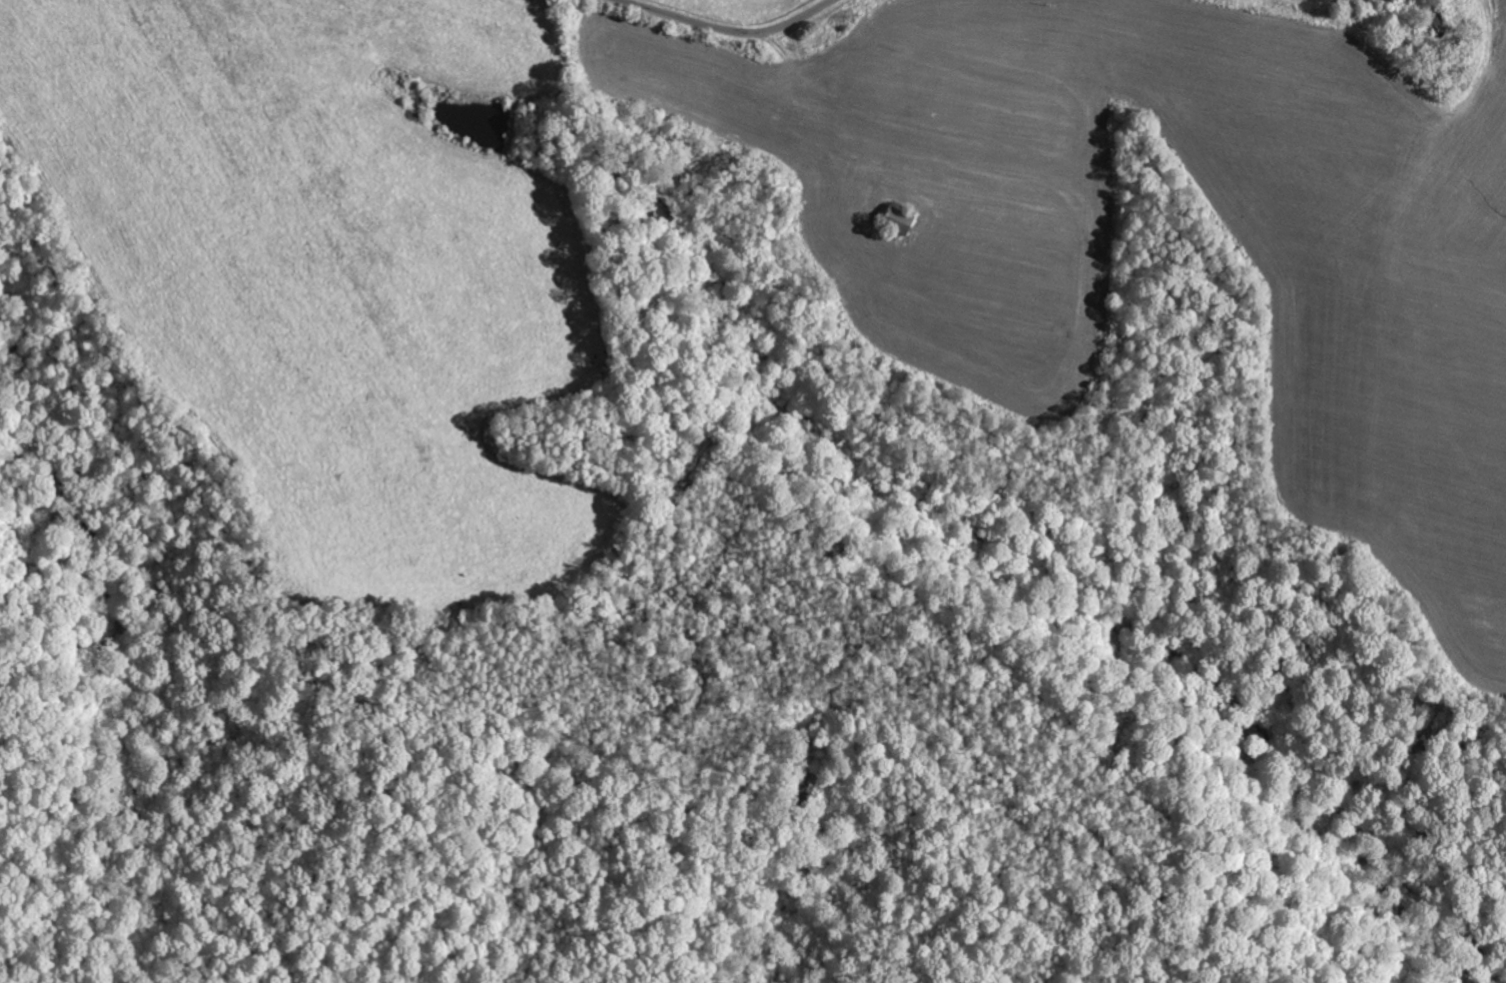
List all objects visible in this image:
road: (726, 29)

